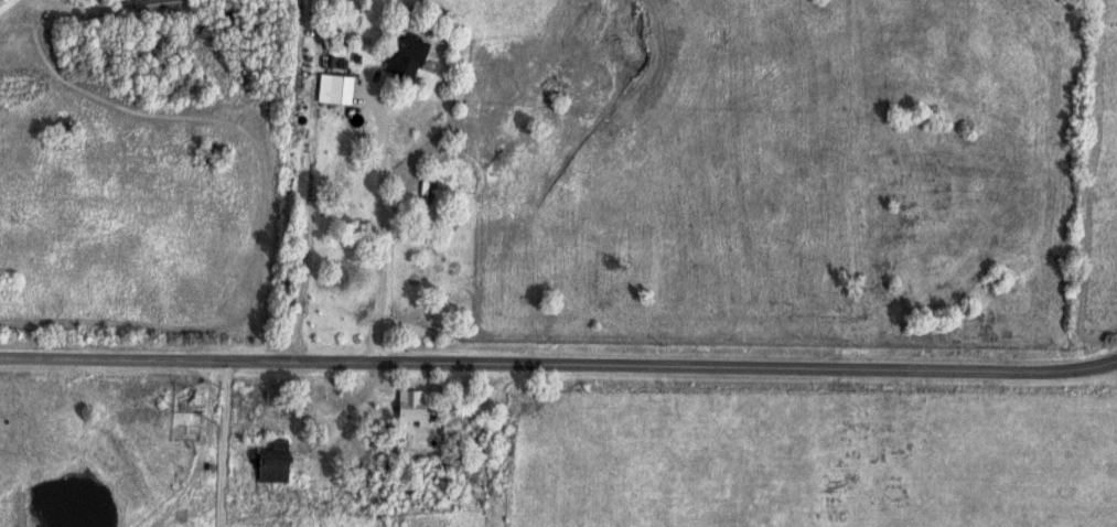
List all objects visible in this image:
road: (8, 6)
building: (413, 55)
building: (345, 88)
road: (366, 225)
road: (558, 359)
building: (420, 405)
building: (480, 430)
building: (282, 462)

